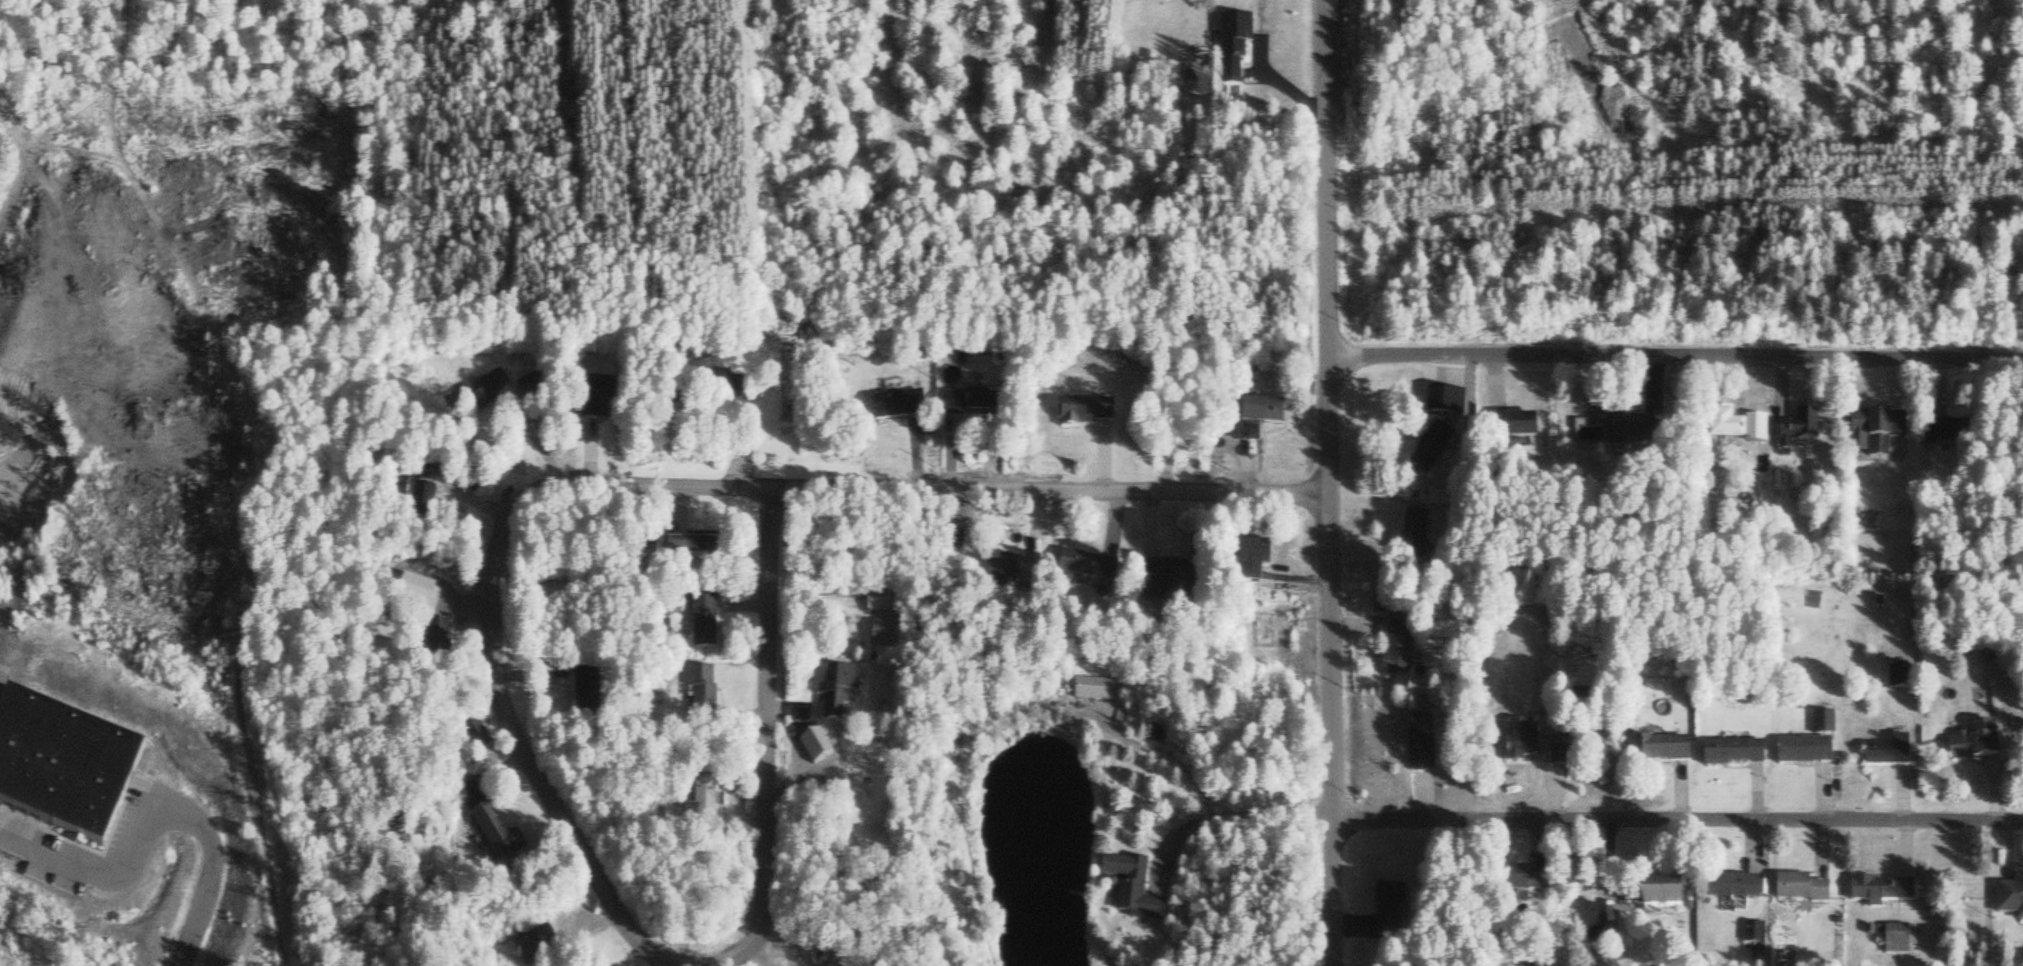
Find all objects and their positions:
building: (1239, 36)
road: (1676, 359)
building: (1128, 378)
building: (535, 389)
building: (607, 391)
building: (728, 391)
building: (483, 392)
building: (1455, 404)
building: (971, 406)
building: (900, 407)
building: (1086, 413)
building: (1270, 413)
building: (1514, 429)
building: (1643, 432)
building: (1743, 432)
building: (1881, 432)
building: (1798, 433)
building: (1952, 436)
building: (1434, 449)
road: (261, 474)
road: (1333, 482)
road: (625, 483)
road: (1050, 489)
building: (1416, 535)
building: (696, 549)
building: (1260, 555)
building: (1089, 567)
building: (1016, 576)
building: (1171, 581)
building: (706, 623)
building: (440, 631)
building: (1400, 648)
building: (1899, 678)
building: (1096, 693)
building: (589, 694)
building: (839, 695)
building: (1825, 726)
building: (1425, 745)
building: (1978, 746)
building: (1528, 750)
building: (1662, 753)
building: (1807, 754)
building: (1892, 754)
building: (1737, 756)
building: (1562, 758)
building: (68, 764)
road: (1676, 821)
building: (501, 839)
building: (1529, 882)
building: (1742, 888)
building: (1804, 891)
building: (1135, 892)
building: (1884, 893)
building: (1670, 898)
building: (2012, 899)
building: (1391, 912)
building: (1896, 938)
building: (540, 949)

